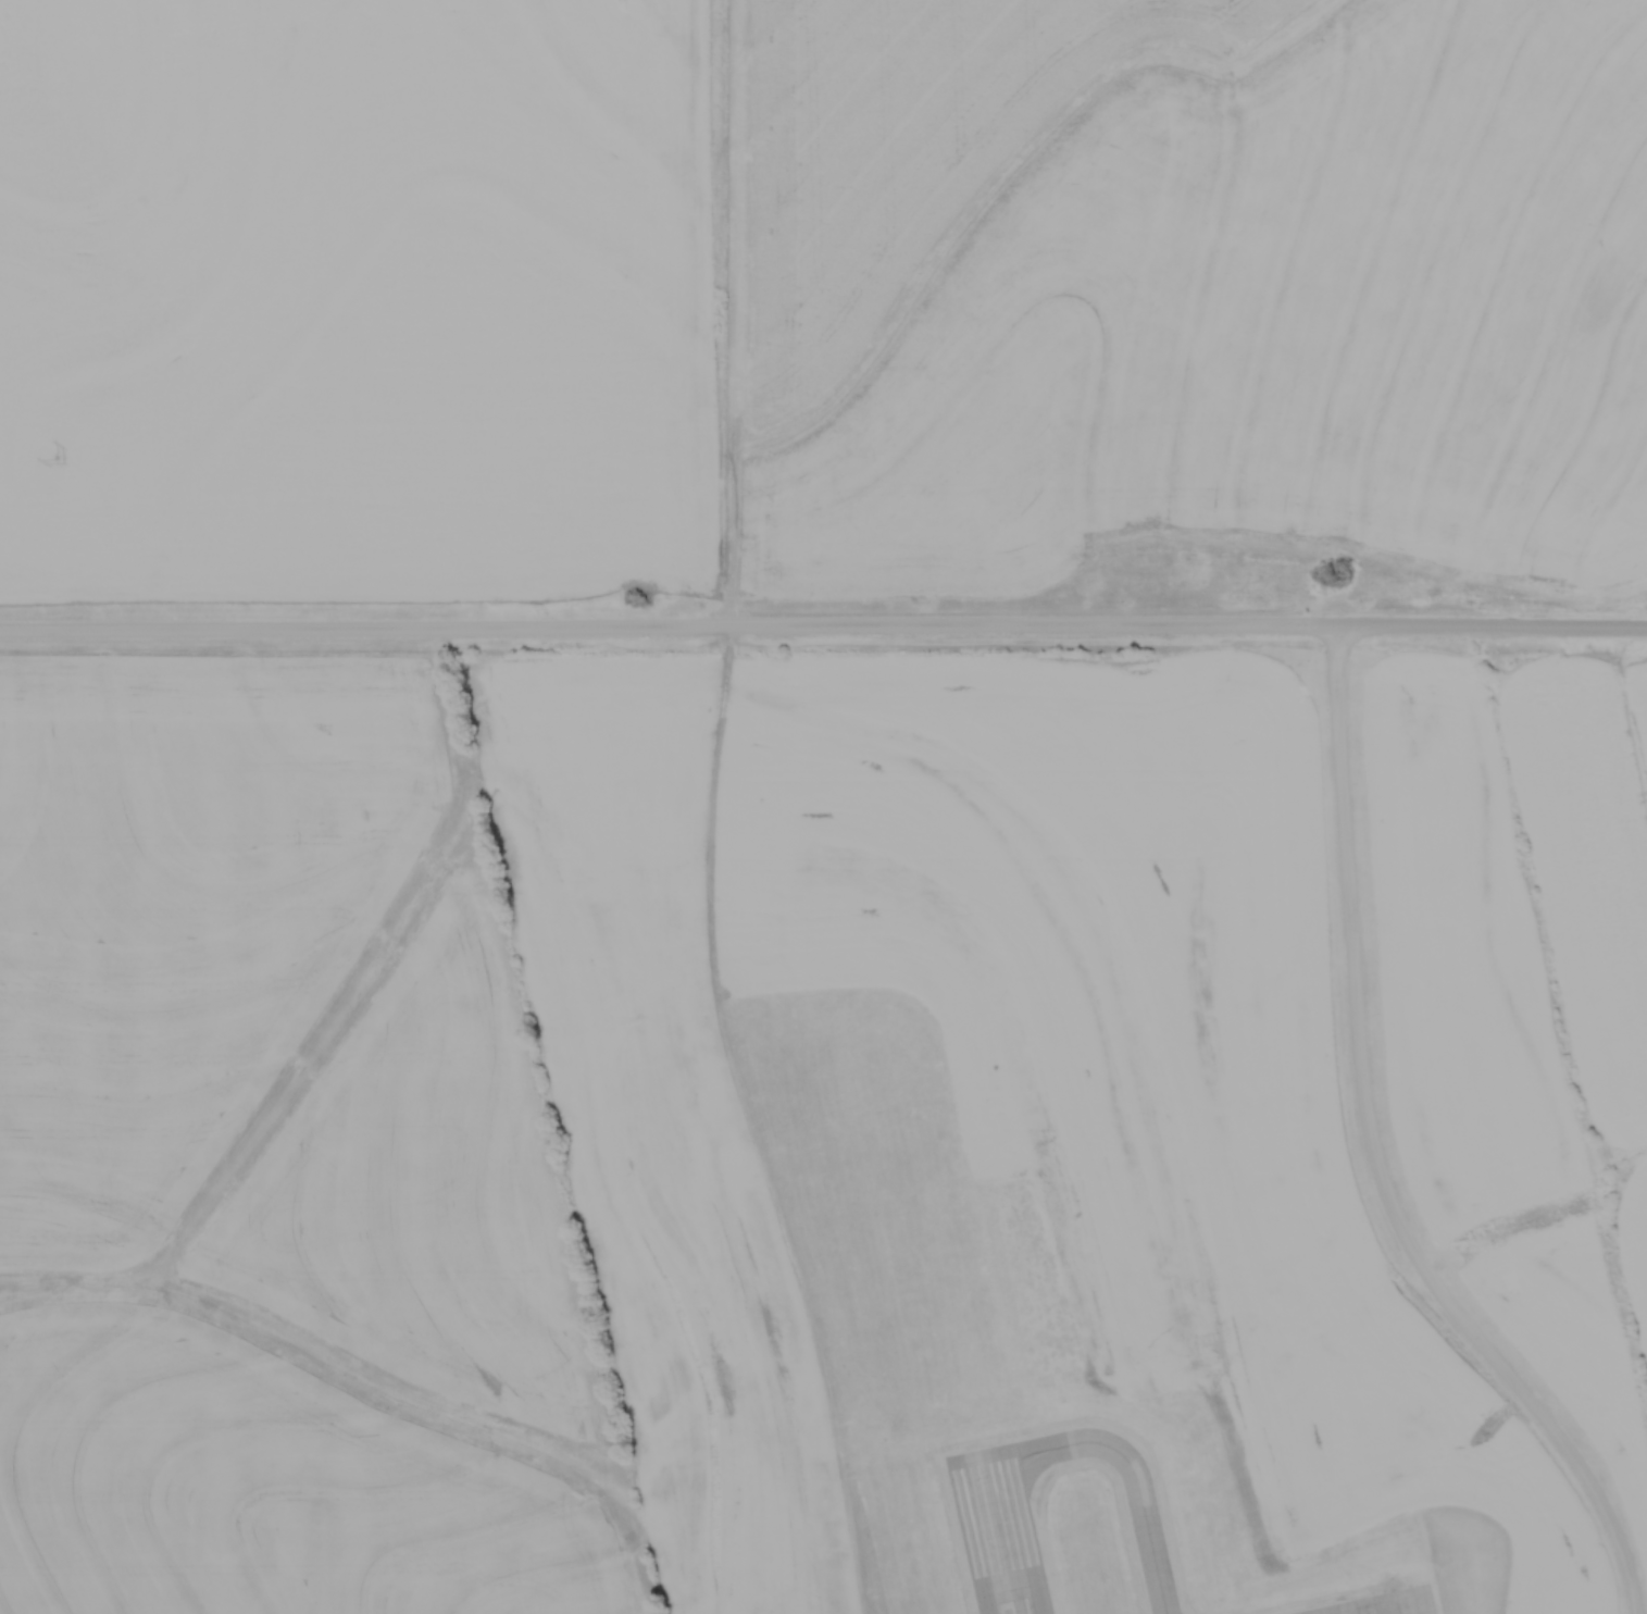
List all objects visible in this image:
power tower: (57, 465)
road: (663, 631)
road: (1487, 631)
road: (1375, 1158)
airport taxiway: (1131, 1463)
airport runway: (999, 1534)
airport apron: (1385, 1603)
airport taxiway: (1386, 1606)

